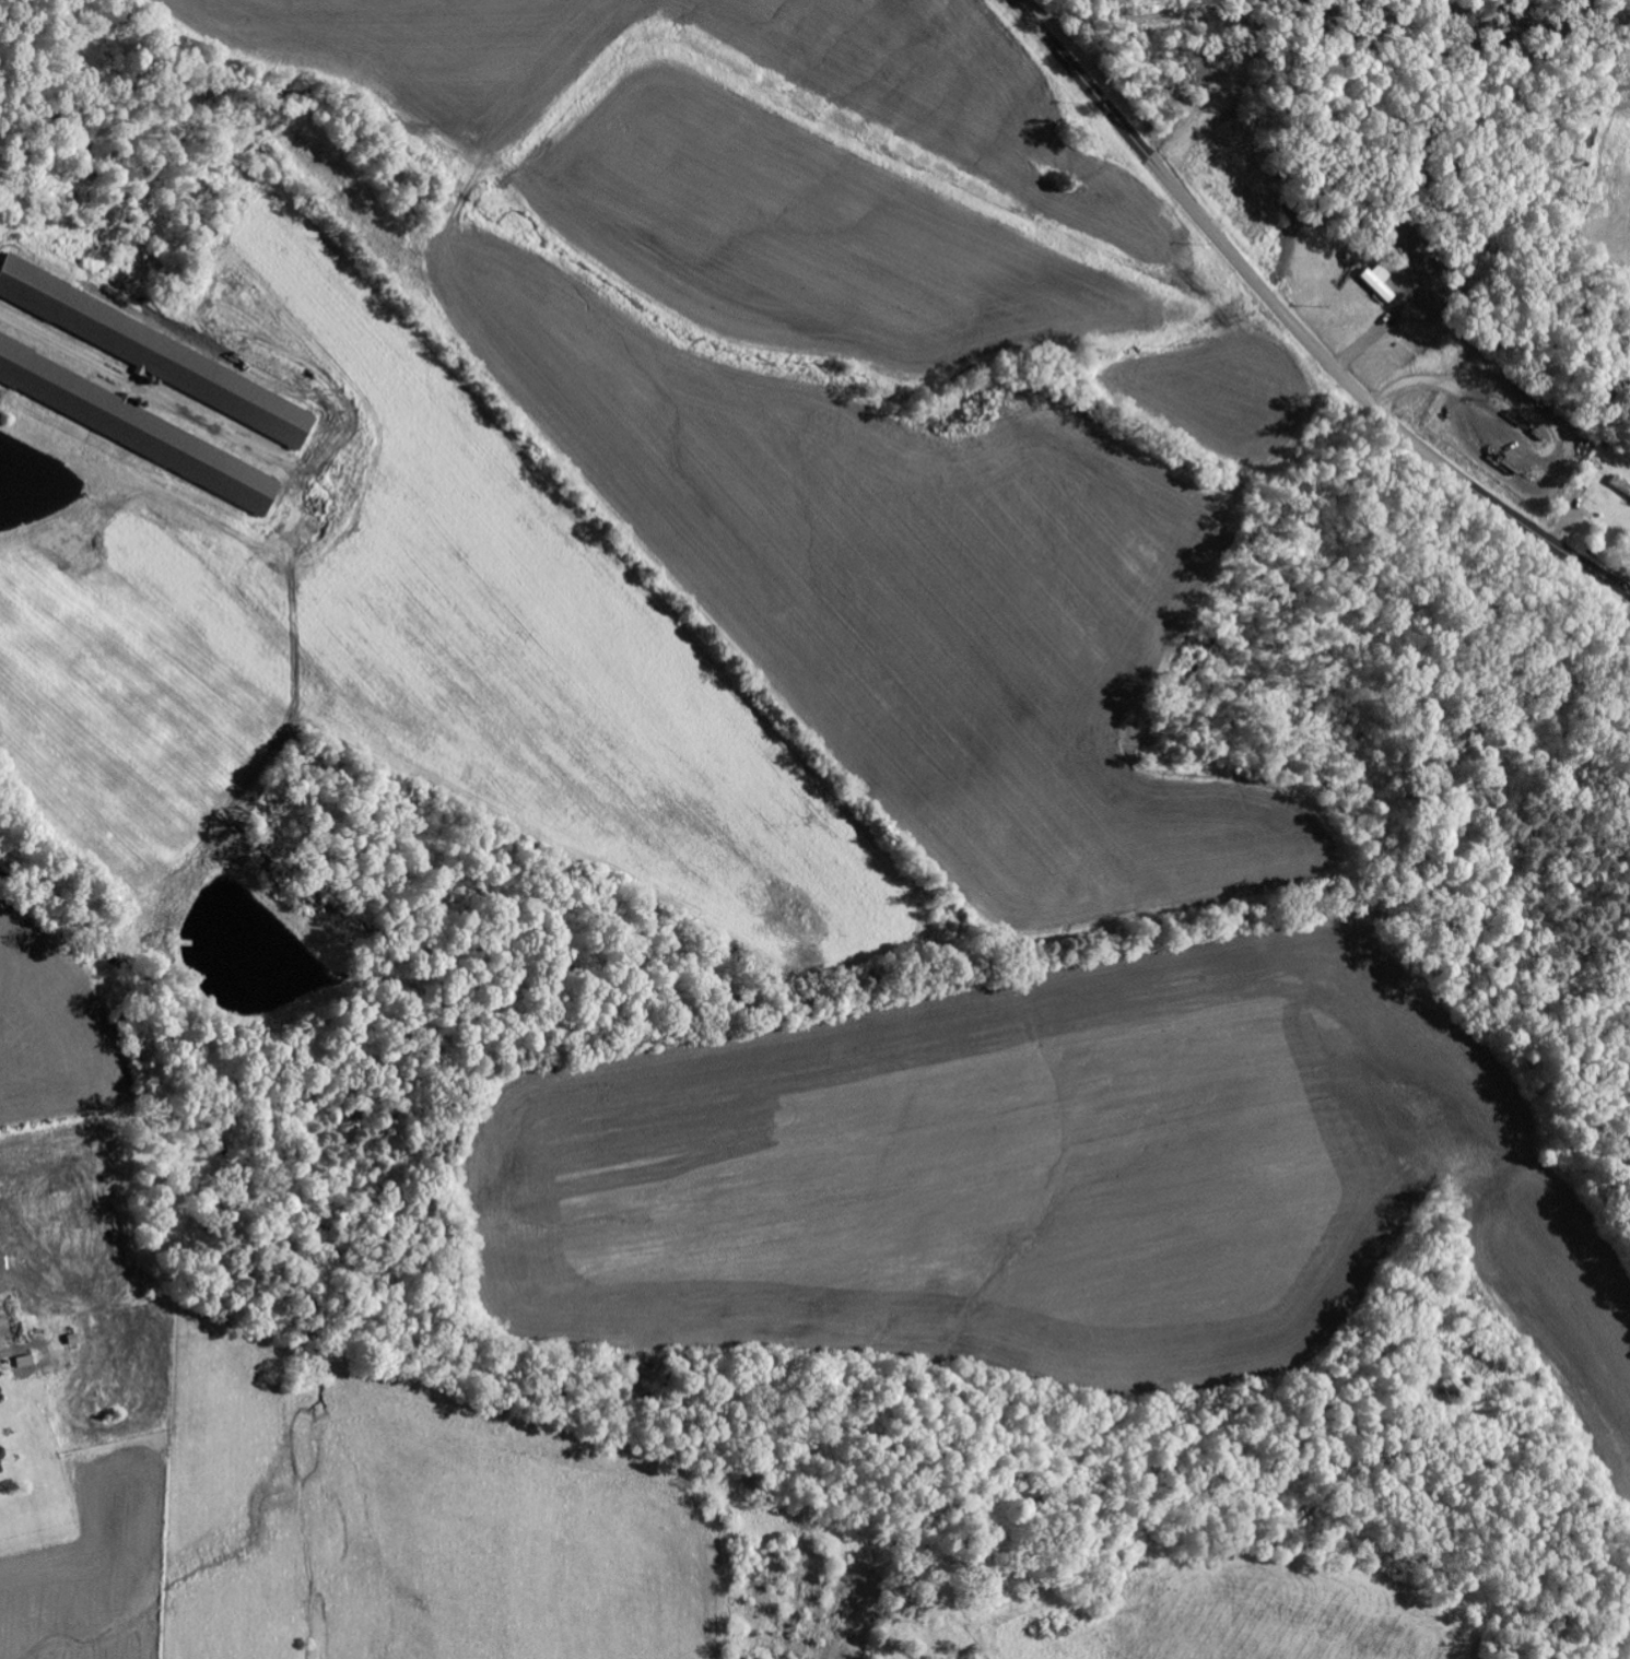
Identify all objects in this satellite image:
road: (1294, 326)
building: (162, 356)
building: (129, 424)
building: (1621, 486)
building: (27, 1367)
building: (0, 1471)

